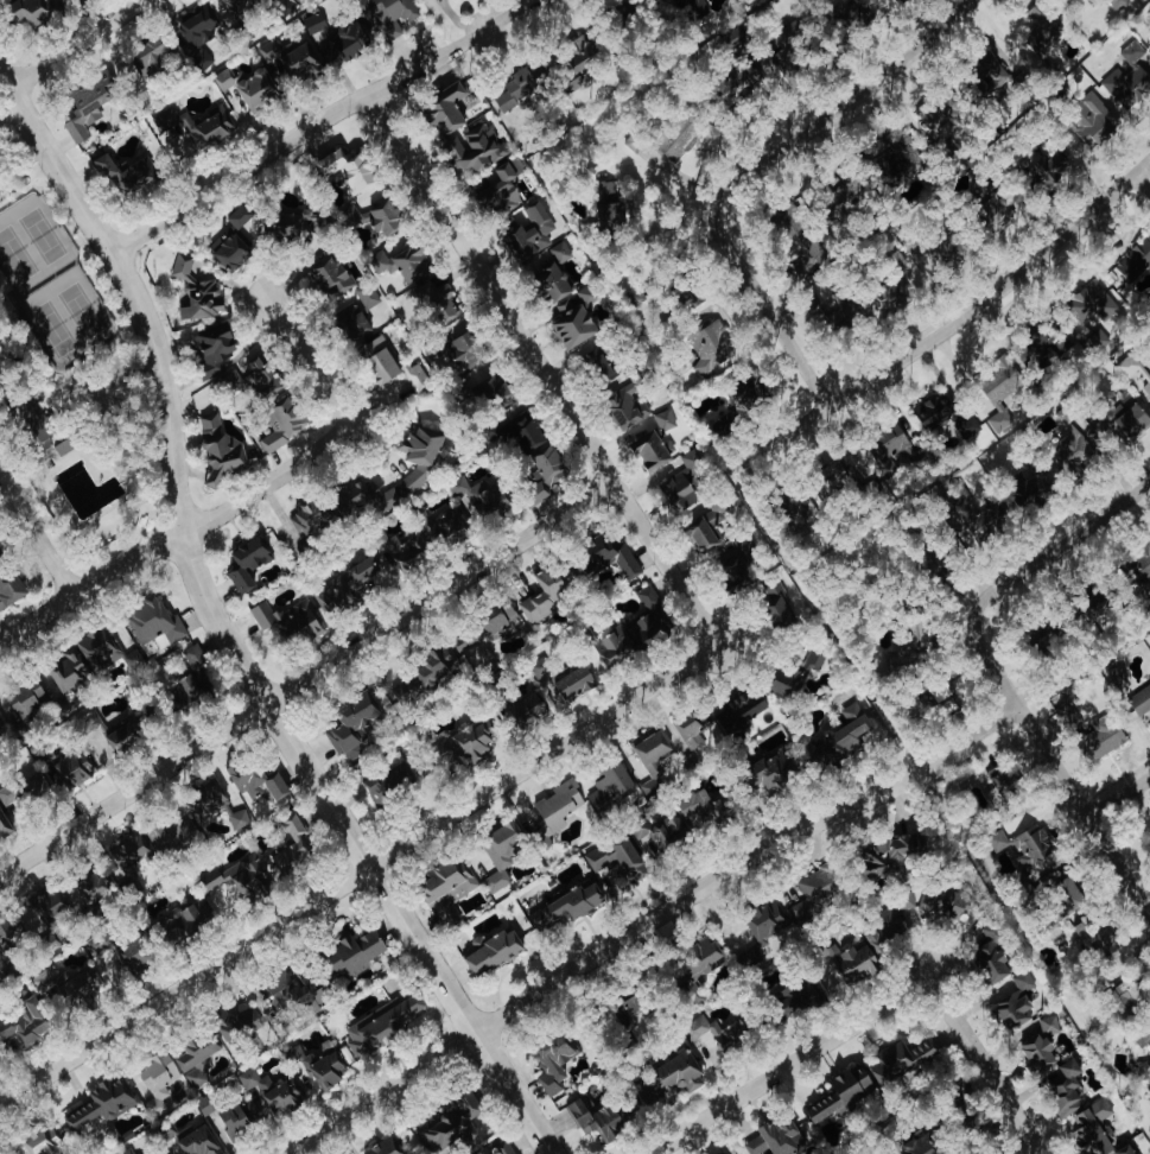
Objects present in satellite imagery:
building: (681, 0)
building: (902, 1)
building: (286, 2)
building: (243, 6)
building: (36, 12)
building: (854, 13)
building: (389, 15)
building: (314, 24)
building: (199, 26)
building: (792, 32)
building: (1044, 32)
building: (345, 44)
building: (1149, 44)
road: (75, 45)
building: (159, 56)
building: (202, 56)
building: (291, 58)
building: (583, 61)
building: (999, 72)
building: (1130, 78)
building: (228, 80)
building: (521, 84)
building: (259, 93)
road: (847, 102)
building: (447, 108)
building: (90, 109)
building: (938, 110)
road: (318, 121)
building: (1095, 121)
building: (217, 126)
building: (682, 137)
building: (636, 140)
building: (481, 145)
building: (898, 152)
building: (1047, 166)
building: (351, 169)
building: (127, 176)
road: (1143, 180)
building: (502, 182)
building: (846, 197)
building: (610, 207)
building: (387, 218)
building: (285, 226)
building: (532, 232)
park: (40, 235)
building: (240, 237)
building: (916, 245)
building: (805, 248)
building: (945, 253)
park: (14, 254)
building: (1136, 260)
building: (413, 262)
building: (555, 273)
building: (332, 277)
building: (197, 290)
building: (587, 296)
building: (439, 300)
road: (764, 304)
building: (1092, 305)
park: (80, 310)
building: (358, 311)
building: (574, 324)
road: (951, 325)
park: (51, 328)
building: (1047, 342)
building: (713, 344)
building: (216, 348)
building: (470, 349)
building: (381, 360)
building: (598, 362)
road: (542, 368)
building: (1135, 369)
building: (262, 378)
building: (417, 379)
building: (491, 388)
park: (70, 389)
road: (87, 393)
building: (1002, 393)
parking lot: (100, 395)
building: (629, 400)
building: (744, 404)
building: (935, 410)
building: (23, 414)
building: (665, 420)
building: (1124, 420)
building: (286, 423)
building: (515, 432)
building: (69, 445)
building: (648, 448)
building: (892, 450)
building: (221, 451)
building: (1069, 451)
building: (420, 458)
building: (551, 465)
building: (684, 478)
building: (1031, 484)
building: (361, 497)
road: (243, 499)
building: (469, 506)
building: (717, 511)
building: (801, 511)
building: (311, 519)
building: (989, 522)
road: (33, 534)
building: (703, 534)
building: (745, 545)
road: (1061, 547)
building: (406, 552)
building: (0, 554)
building: (609, 556)
building: (248, 564)
building: (1141, 565)
building: (736, 572)
building: (343, 586)
building: (11, 588)
building: (552, 590)
building: (1100, 602)
building: (780, 604)
building: (648, 619)
building: (290, 620)
building: (155, 621)
building: (488, 628)
road: (224, 638)
building: (97, 647)
building: (616, 647)
building: (541, 668)
building: (69, 671)
building: (798, 673)
building: (1117, 677)
building: (422, 678)
road: (307, 679)
building: (193, 680)
building: (577, 683)
building: (941, 692)
building: (1144, 698)
building: (30, 699)
building: (530, 710)
building: (743, 710)
building: (1068, 716)
building: (354, 725)
building: (1, 729)
building: (126, 734)
building: (1104, 736)
building: (843, 737)
building: (691, 738)
building: (471, 741)
building: (654, 757)
road: (1056, 766)
building: (75, 768)
building: (247, 778)
building: (387, 784)
building: (612, 787)
building: (1004, 787)
building: (26, 791)
road: (1119, 798)
building: (210, 801)
building: (560, 805)
building: (239, 819)
building: (5, 823)
building: (173, 835)
building: (660, 836)
building: (294, 849)
building: (131, 852)
building: (896, 852)
building: (501, 854)
building: (617, 857)
road: (358, 874)
building: (236, 881)
building: (447, 884)
building: (94, 887)
building: (820, 892)
building: (951, 903)
building: (49, 905)
building: (568, 905)
building: (185, 919)
road: (648, 921)
building: (898, 921)
building: (763, 931)
building: (11, 932)
building: (1099, 940)
building: (99, 943)
building: (495, 950)
building: (357, 952)
building: (138, 955)
building: (995, 955)
building: (701, 958)
building: (860, 964)
building: (64, 987)
building: (1132, 995)
building: (801, 997)
building: (1016, 1000)
building: (633, 1003)
building: (27, 1022)
building: (382, 1025)
building: (241, 1026)
building: (723, 1032)
building: (1142, 1036)
building: (1042, 1047)
building: (197, 1058)
building: (904, 1060)
building: (554, 1063)
road: (984, 1064)
road: (789, 1065)
building: (325, 1071)
building: (1143, 1071)
building: (159, 1079)
building: (668, 1080)
building: (1066, 1086)
building: (269, 1091)
building: (844, 1093)
building: (102, 1104)
building: (207, 1104)
building: (241, 1120)
building: (603, 1121)
building: (453, 1123)
building: (1093, 1128)
building: (777, 1139)
building: (198, 1141)
building: (44, 1142)
building: (927, 1143)
building: (385, 1147)
road: (1025, 1148)
building: (504, 1149)
building: (1127, 1150)
building: (126, 1152)
building: (140, 1153)

